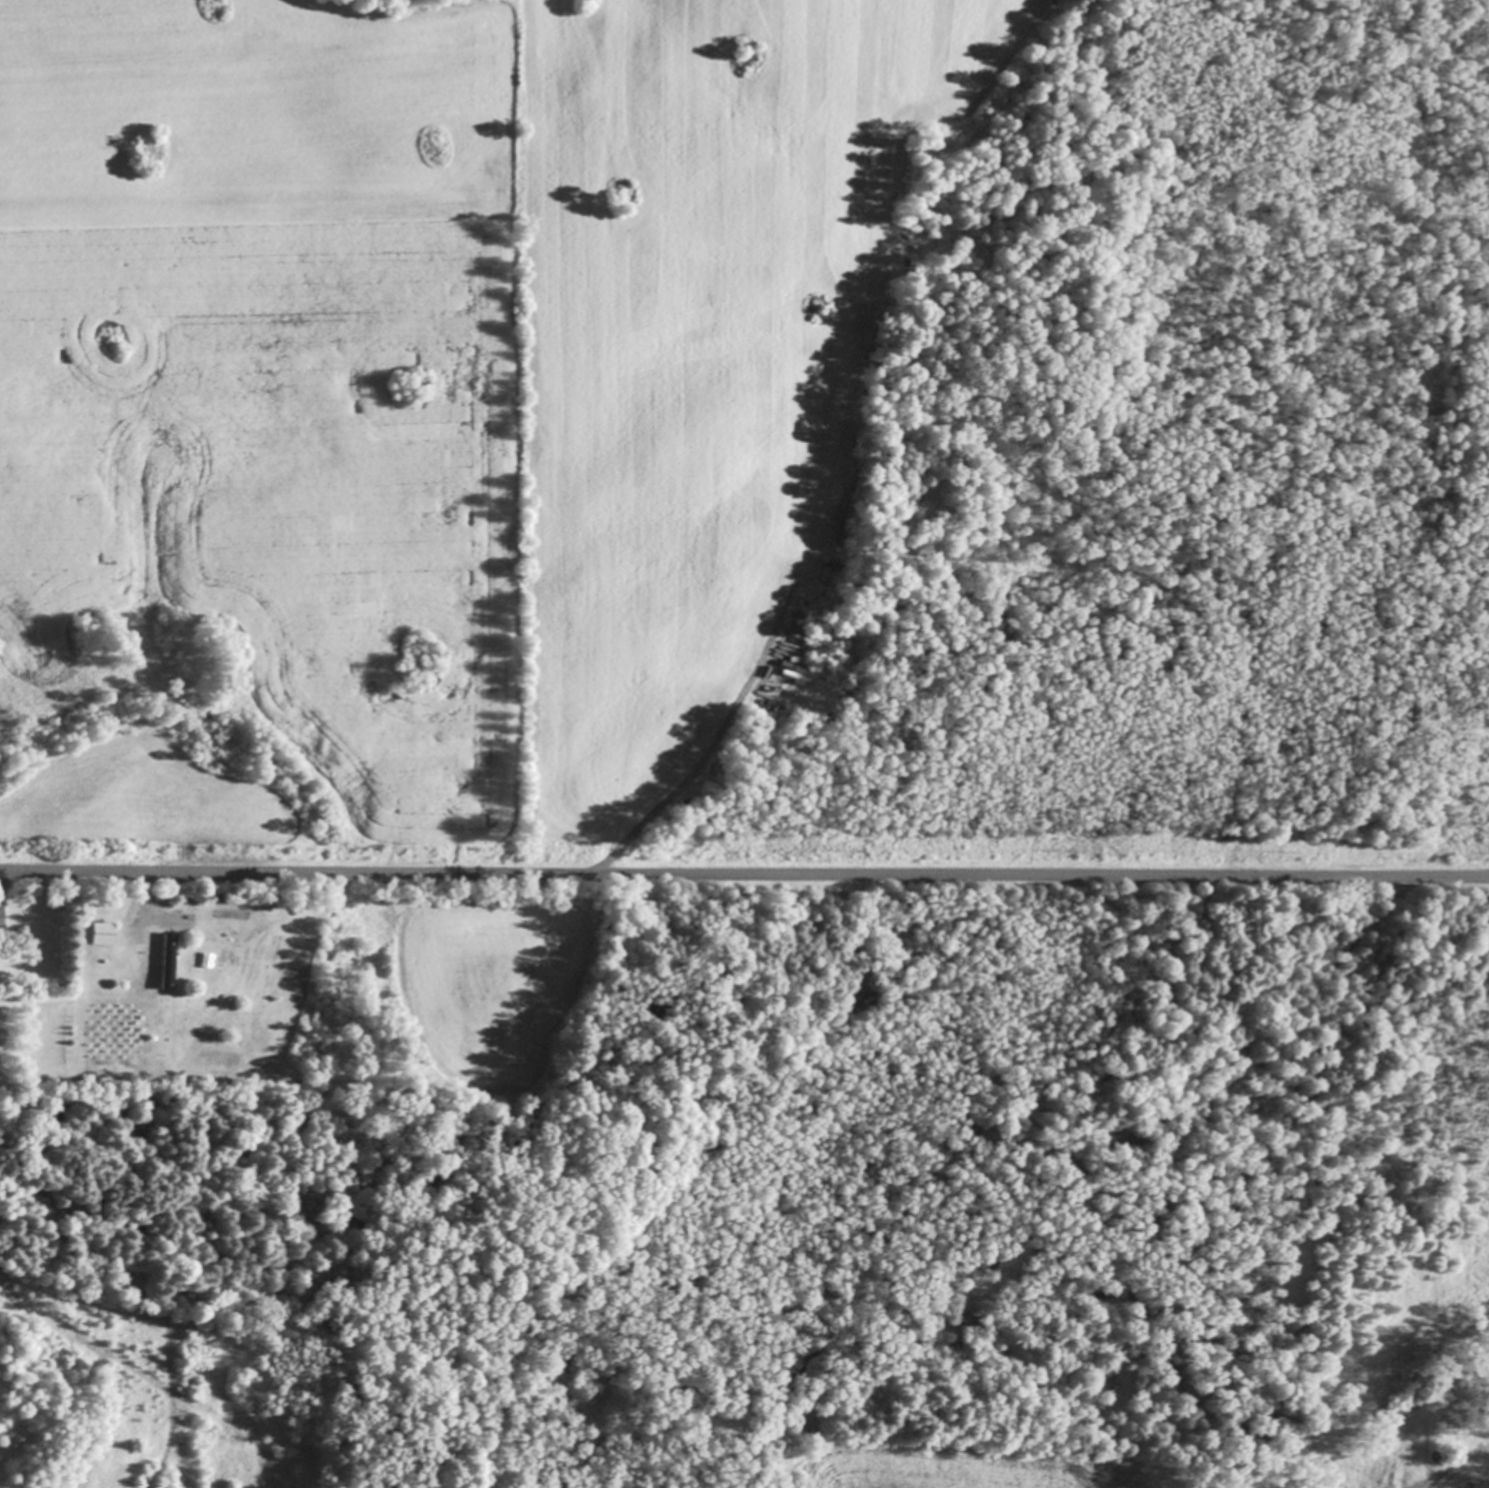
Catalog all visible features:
road: (691, 771)
road: (744, 874)
building: (104, 934)
building: (169, 962)

